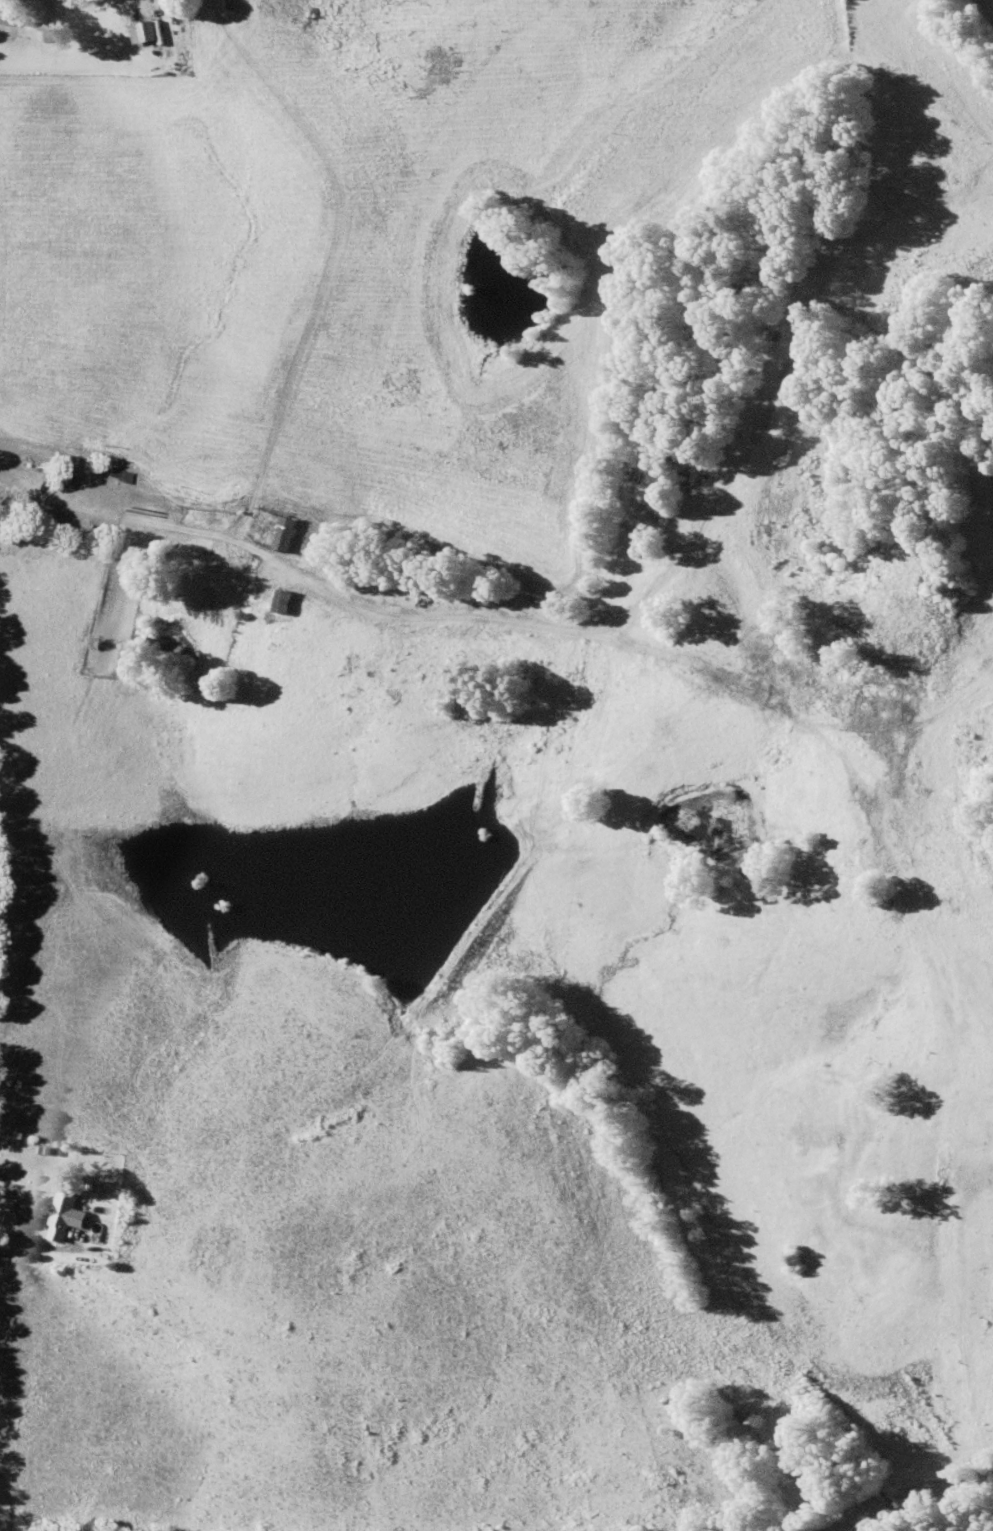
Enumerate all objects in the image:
building: (145, 32)
building: (764, 331)
building: (121, 475)
building: (283, 534)
building: (280, 602)
building: (62, 1214)
road: (876, 1492)

